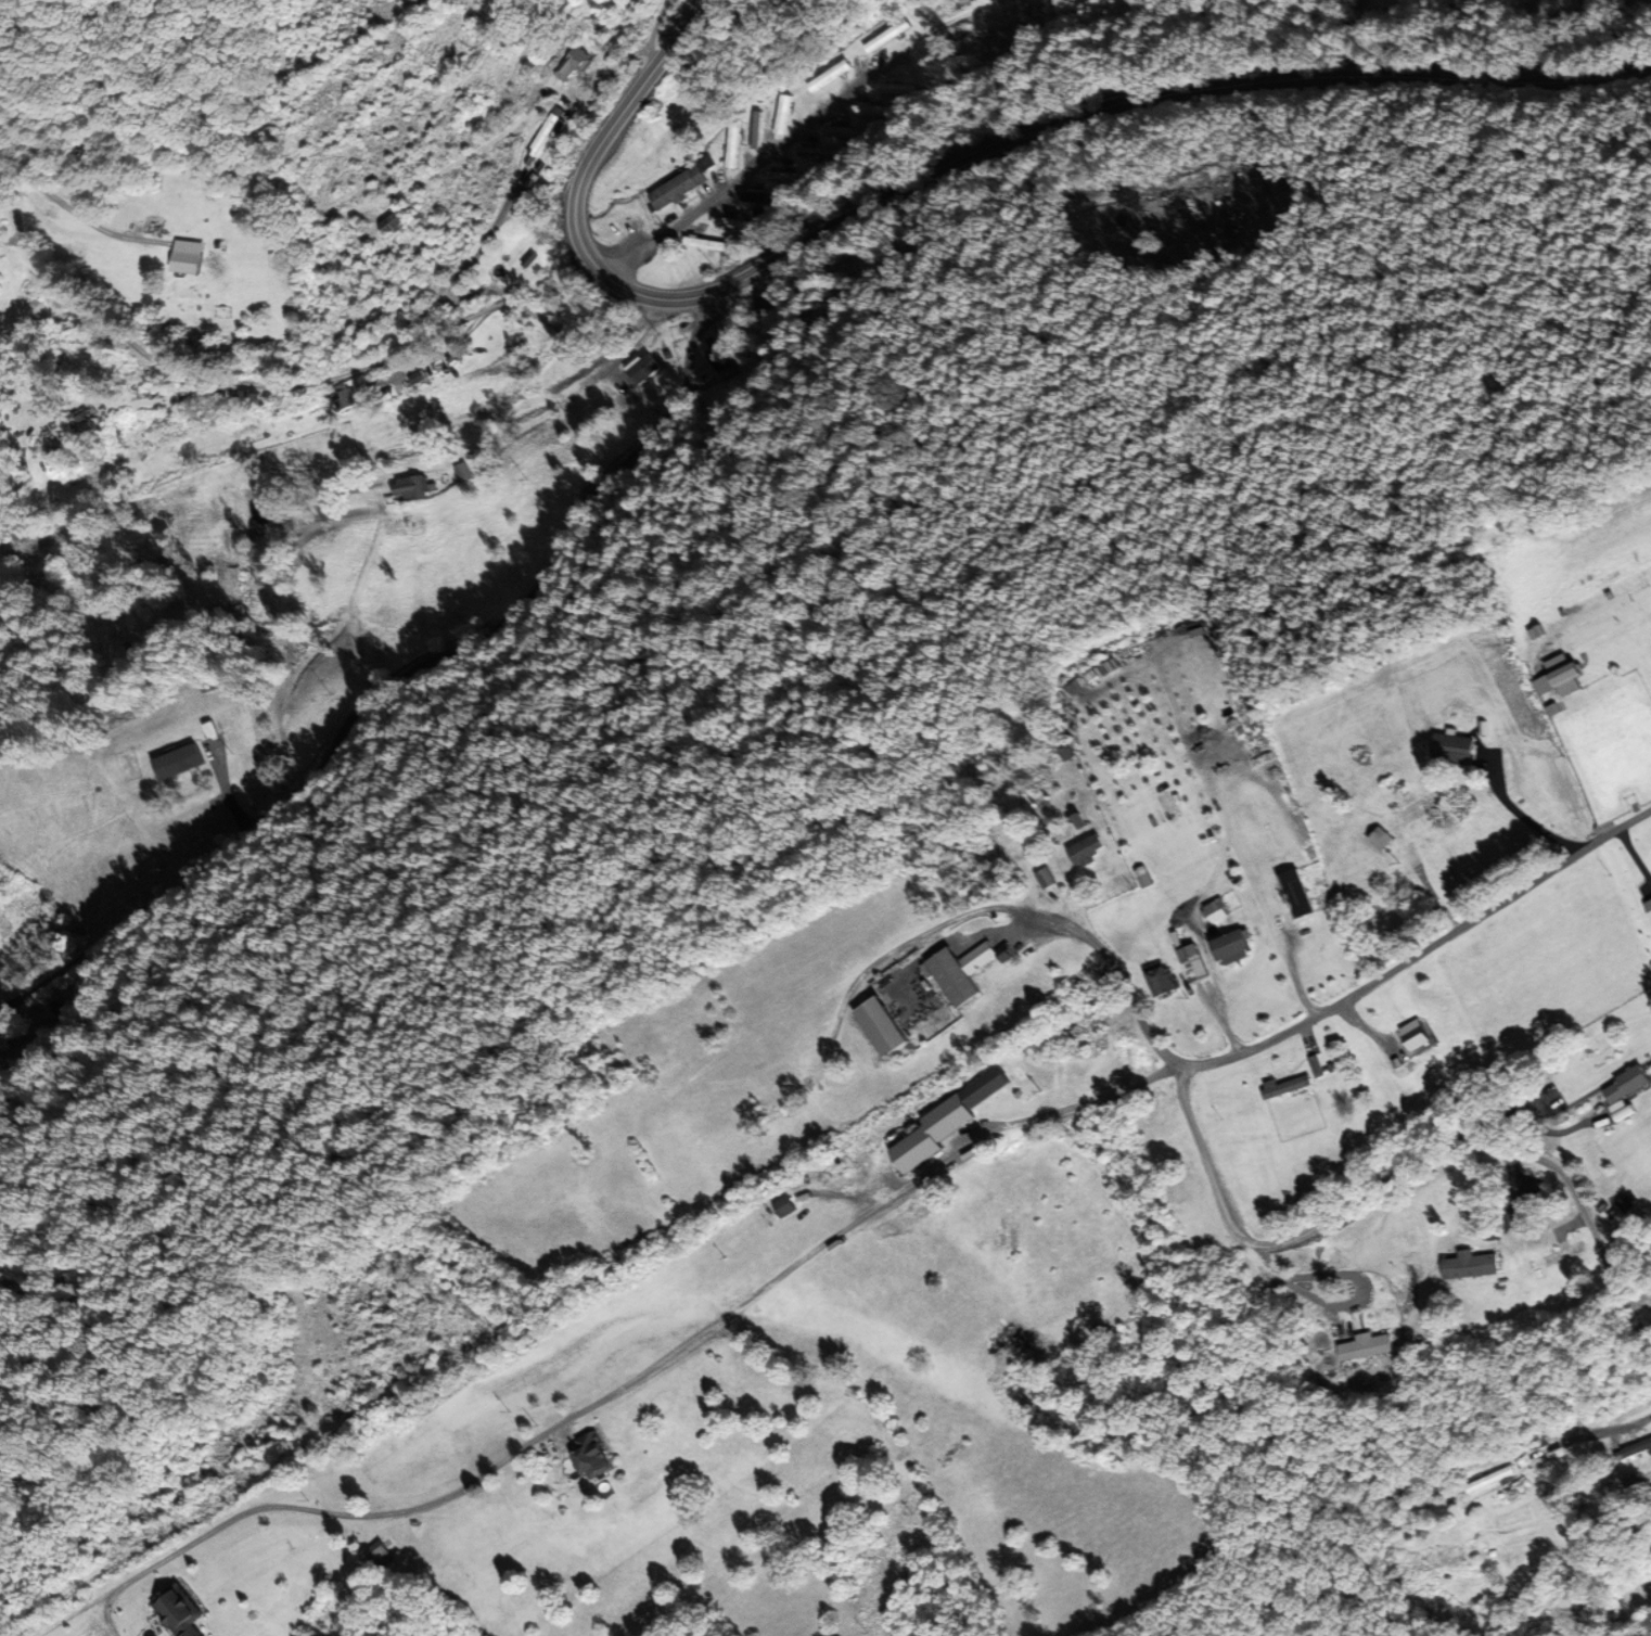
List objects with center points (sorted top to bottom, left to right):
building: (571, 64)
building: (824, 80)
building: (900, 91)
building: (756, 131)
building: (845, 132)
building: (545, 135)
building: (733, 145)
road: (769, 154)
building: (530, 171)
road: (958, 172)
building: (786, 177)
building: (679, 188)
building: (392, 223)
building: (732, 223)
building: (153, 227)
building: (188, 257)
road: (331, 354)
building: (719, 358)
building: (644, 370)
building: (343, 396)
building: (82, 423)
building: (458, 475)
building: (412, 487)
building: (1563, 675)
road: (415, 698)
building: (1455, 750)
building: (1417, 810)
building: (1086, 852)
building: (1296, 894)
building: (1232, 948)
building: (1193, 963)
building: (964, 971)
building: (1162, 980)
building: (881, 1027)
building: (1416, 1036)
building: (1625, 1091)
building: (946, 1122)
road: (1378, 1186)
road: (874, 1205)
building: (784, 1207)
building: (1471, 1266)
building: (1365, 1347)
building: (1638, 1450)
building: (592, 1458)
building: (1484, 1492)
building: (380, 1555)
building: (179, 1612)

